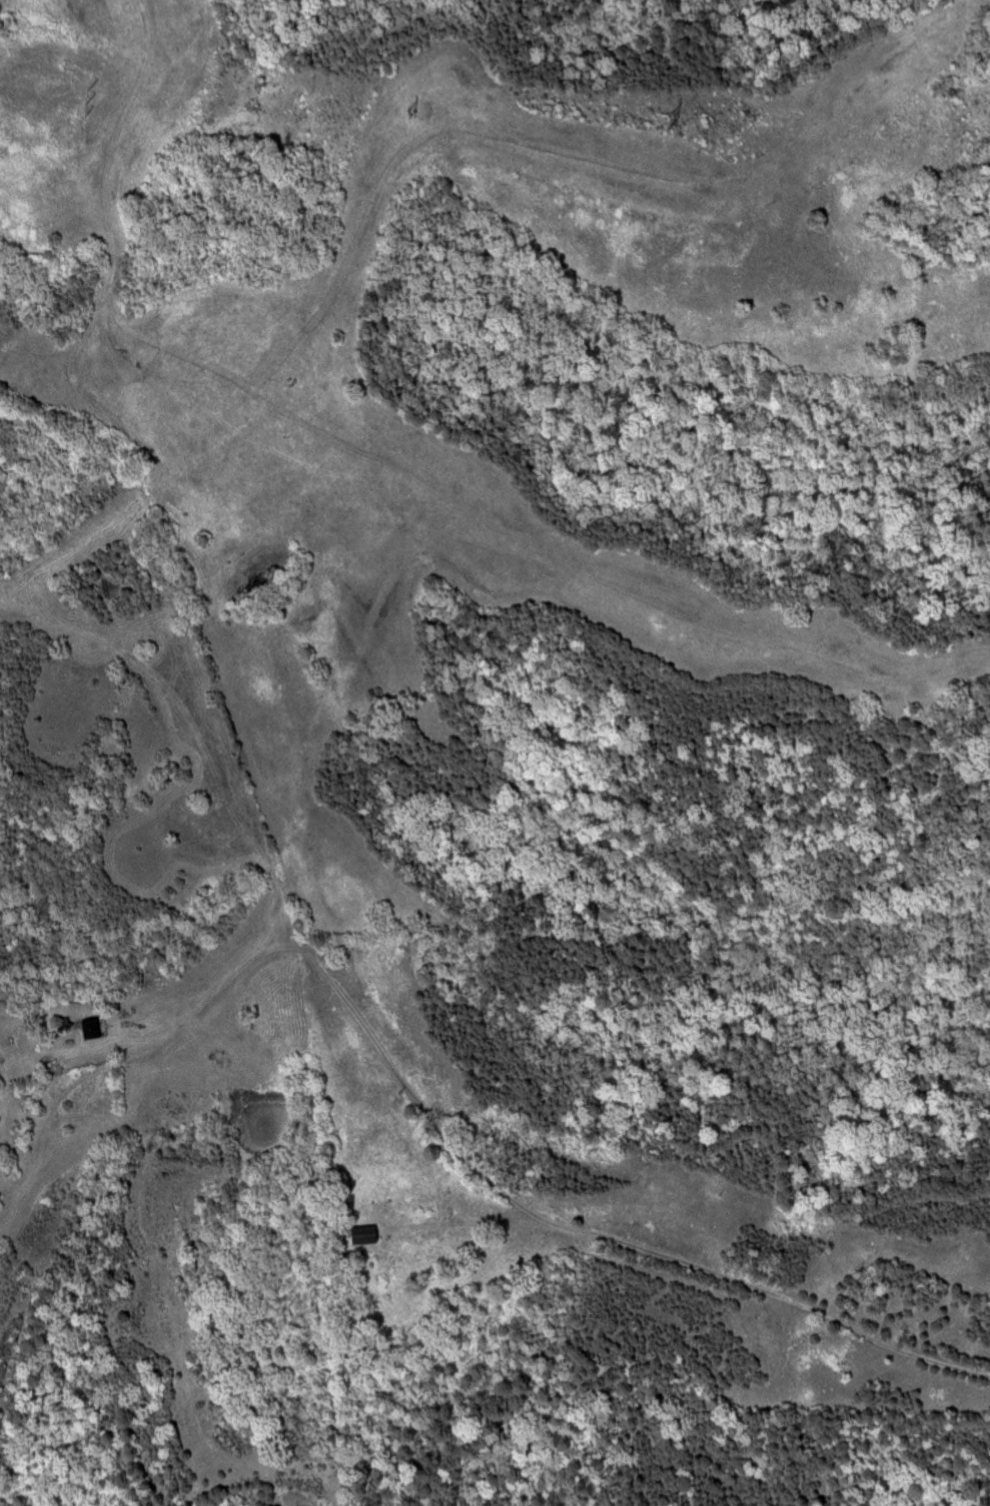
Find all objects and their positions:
power tower: (86, 101)
power tower: (411, 111)
power tower: (671, 121)
road: (140, 484)
road: (462, 1133)

